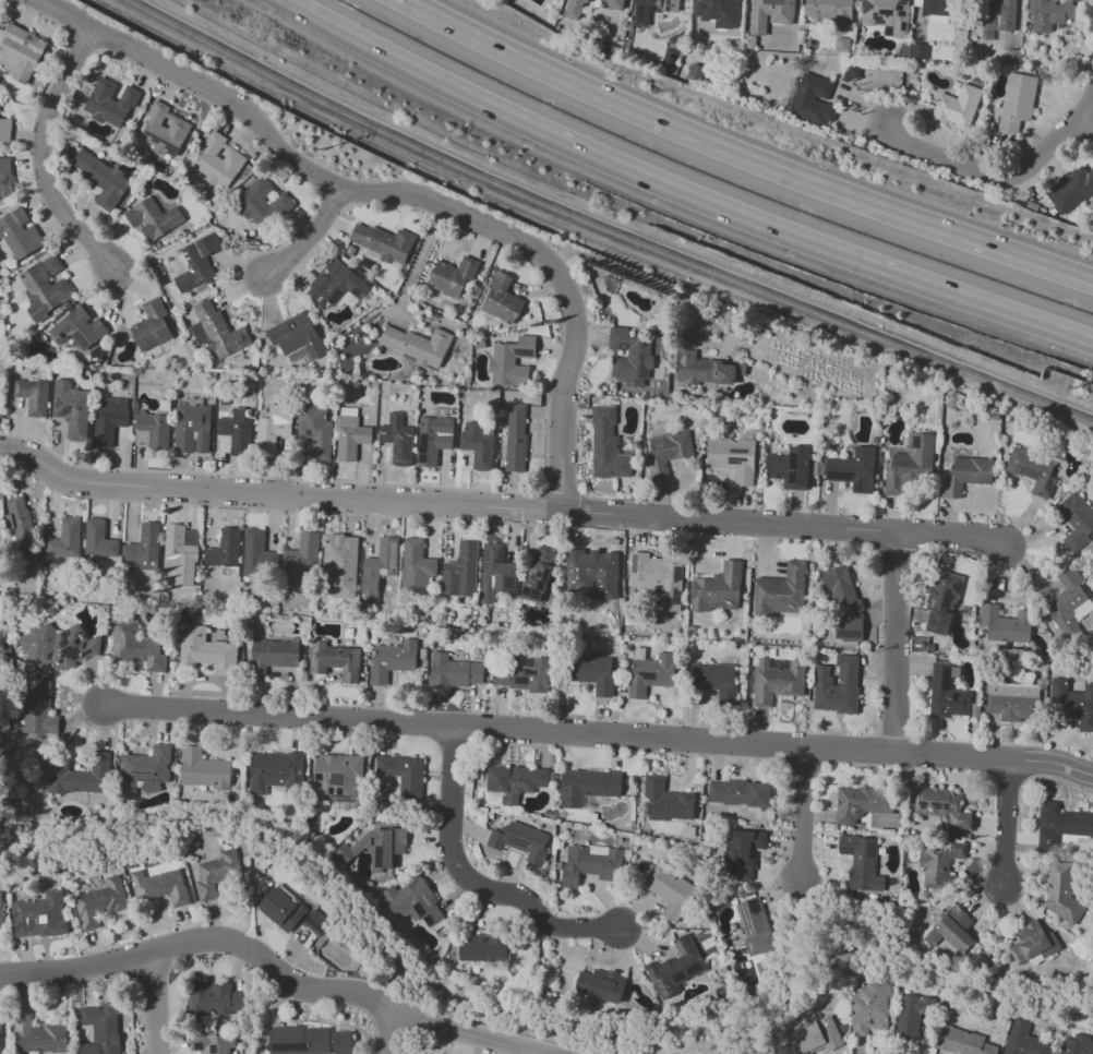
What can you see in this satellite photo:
building: (722, 0)
rooftop solar panel: (904, 1)
building: (617, 3)
rooftop solar panel: (867, 5)
building: (578, 7)
building: (942, 8)
building: (647, 9)
rooftop solar panel: (898, 9)
building: (834, 11)
rooftop solar panel: (902, 12)
building: (1057, 12)
building: (772, 13)
rooftop solar panel: (887, 13)
building: (887, 14)
building: (998, 14)
rooftop solar panel: (878, 21)
rooftop solar panel: (903, 26)
building: (841, 44)
building: (21, 50)
building: (920, 50)
building: (812, 100)
building: (1017, 101)
building: (109, 103)
building: (956, 107)
road: (1089, 127)
building: (4, 130)
building: (163, 131)
rooftop solar panel: (161, 141)
power tower: (327, 149)
road: (39, 157)
road: (736, 158)
building: (217, 160)
building: (103, 179)
building: (5, 180)
road: (999, 181)
building: (1070, 189)
road: (401, 193)
road: (677, 194)
building: (260, 203)
building: (152, 218)
railway: (601, 229)
building: (19, 233)
road: (308, 236)
road: (589, 236)
building: (382, 242)
rooftop solar panel: (182, 259)
building: (195, 262)
road: (416, 262)
rooftop solar panel: (326, 275)
building: (451, 276)
building: (334, 285)
building: (44, 286)
rooftop solar panel: (187, 286)
rooftop solar panel: (356, 294)
road: (678, 294)
rooftop solar panel: (334, 297)
building: (502, 299)
building: (151, 326)
building: (77, 328)
building: (216, 331)
building: (296, 337)
building: (418, 345)
rooftop solar panel: (526, 355)
building: (628, 358)
building: (511, 360)
building: (741, 368)
building: (701, 369)
power tower: (1074, 390)
building: (32, 396)
building: (70, 408)
building: (108, 419)
building: (192, 428)
building: (273, 428)
building: (155, 429)
building: (314, 430)
building: (235, 431)
building: (350, 434)
building: (515, 438)
building: (397, 439)
building: (433, 439)
rooftop solar panel: (917, 440)
building: (478, 444)
building: (606, 444)
rooftop solar panel: (422, 445)
building: (666, 452)
building: (732, 458)
rooftop solar panel: (422, 462)
rooftop solar panel: (794, 462)
building: (909, 463)
building: (789, 467)
building: (852, 469)
building: (1031, 470)
rooftop solar panel: (842, 472)
rooftop solar panel: (1029, 472)
building: (965, 475)
rooftop solar panel: (792, 480)
rooftop solar panel: (1049, 484)
rooftop solar panel: (860, 488)
road: (502, 508)
building: (1076, 519)
building: (19, 523)
building: (64, 538)
building: (98, 539)
building: (144, 547)
building: (224, 549)
building: (252, 551)
building: (303, 551)
building: (180, 552)
rooftop solar panel: (392, 554)
rooftop solar panel: (500, 558)
rooftop solar panel: (485, 561)
rooftop solar panel: (635, 563)
building: (338, 564)
building: (377, 567)
building: (415, 567)
building: (459, 571)
rooftop solar panel: (384, 572)
building: (494, 573)
building: (537, 574)
rooftop solar panel: (676, 574)
building: (590, 575)
building: (657, 576)
rooftop solar panel: (508, 583)
rooftop solar panel: (957, 586)
building: (717, 588)
building: (781, 590)
building: (941, 597)
rooftop solar panel: (676, 598)
building: (1066, 599)
rooftop solar panel: (948, 600)
building: (843, 603)
rooftop solar panel: (949, 609)
rooftop solar panel: (947, 619)
rooftop solar panel: (940, 624)
building: (1005, 624)
road: (894, 642)
building: (58, 645)
building: (135, 647)
rooftop solar panel: (67, 648)
building: (204, 649)
rooftop solar panel: (67, 652)
rooftop solar panel: (74, 654)
rooftop solar panel: (85, 654)
rooftop solar panel: (44, 655)
building: (272, 655)
rooftop solar panel: (50, 656)
building: (334, 660)
building: (391, 660)
rooftop solar panel: (529, 664)
building: (453, 671)
building: (592, 672)
building: (649, 674)
building: (524, 675)
rooftop solar panel: (645, 675)
rooftop solar panel: (946, 678)
building: (714, 679)
rooftop solar panel: (521, 681)
building: (776, 681)
building: (837, 685)
building: (946, 693)
rooftop solar panel: (956, 695)
rooftop solar panel: (45, 696)
building: (1012, 700)
building: (1071, 702)
building: (33, 706)
building: (974, 709)
road: (597, 735)
building: (143, 769)
building: (203, 769)
building: (276, 772)
rooftop solar panel: (141, 774)
building: (401, 774)
building: (80, 776)
building: (337, 777)
rooftop solar panel: (145, 778)
rooftop solar panel: (158, 780)
rooftop solar panel: (338, 781)
building: (515, 781)
building: (587, 786)
rooftop solar panel: (331, 791)
rooftop solar panel: (340, 791)
building: (740, 792)
rooftop solar panel: (331, 799)
building: (665, 801)
building: (863, 802)
rooftop solar panel: (940, 803)
building: (941, 806)
road: (806, 818)
road: (1006, 824)
building: (1060, 824)
building: (519, 841)
building: (375, 845)
building: (742, 852)
rooftop solar panel: (380, 855)
building: (861, 862)
building: (590, 864)
building: (939, 865)
building: (216, 872)
road: (472, 883)
building: (159, 886)
building: (669, 889)
building: (1060, 893)
building: (412, 901)
building: (98, 902)
building: (283, 908)
rooftop solar panel: (419, 911)
building: (1, 912)
building: (39, 915)
building: (316, 922)
rooftop solar panel: (431, 922)
building: (754, 925)
rooftop solar panel: (317, 927)
building: (950, 930)
building: (1031, 942)
rooftop solar panel: (681, 947)
building: (481, 948)
road: (422, 967)
building: (675, 967)
road: (273, 970)
rooftop solar panel: (653, 980)
building: (600, 984)
rooftop solar panel: (661, 984)
building: (213, 998)
road: (155, 1003)
building: (868, 1004)
building: (911, 1015)
building: (100, 1028)
road: (386, 1029)
building: (817, 1034)
building: (38, 1035)
building: (308, 1040)
building: (1024, 1040)
building: (213, 1042)
building: (962, 1042)
building: (1077, 1045)
rooftop solar panel: (199, 1047)
rooftop solar panel: (296, 1047)
building: (0, 1051)
rooftop solar panel: (215, 1051)

